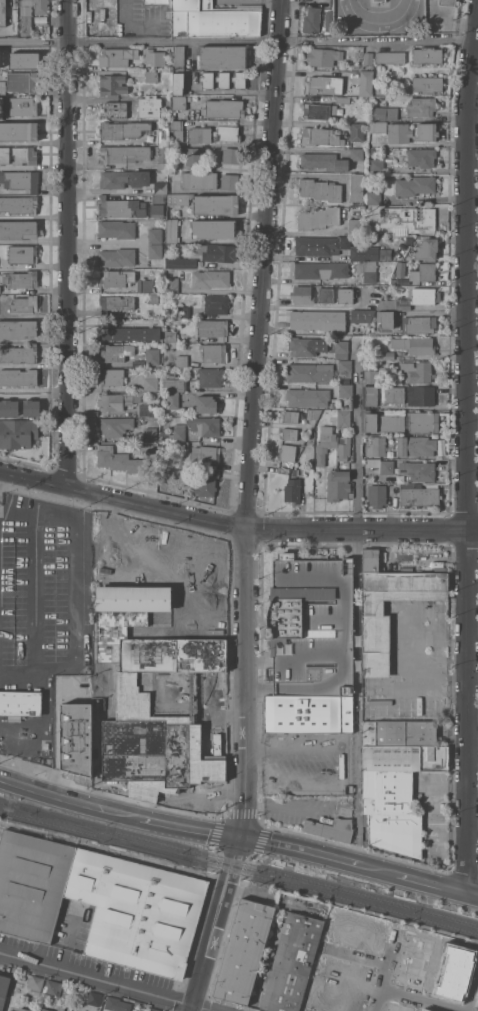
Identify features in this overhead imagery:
building: (378, 0)
building: (160, 1)
building: (447, 2)
road: (380, 11)
building: (3, 12)
building: (30, 12)
building: (214, 19)
building: (311, 20)
building: (327, 20)
building: (119, 28)
road: (239, 39)
building: (427, 55)
building: (115, 56)
building: (154, 56)
building: (323, 56)
building: (25, 57)
building: (178, 57)
building: (223, 57)
building: (390, 57)
building: (368, 58)
building: (151, 76)
building: (239, 79)
building: (207, 80)
building: (223, 80)
building: (21, 81)
building: (178, 83)
building: (366, 83)
building: (113, 84)
building: (320, 84)
building: (426, 84)
building: (342, 99)
building: (151, 102)
building: (179, 102)
building: (23, 106)
building: (421, 106)
building: (225, 108)
building: (114, 110)
building: (319, 110)
building: (379, 113)
building: (379, 127)
building: (122, 129)
building: (177, 129)
building: (19, 131)
building: (228, 132)
building: (356, 132)
building: (399, 132)
building: (426, 132)
building: (199, 134)
building: (163, 136)
building: (320, 136)
building: (123, 153)
building: (356, 154)
building: (5, 155)
building: (24, 155)
building: (231, 155)
building: (193, 156)
building: (421, 157)
building: (324, 161)
building: (162, 165)
building: (377, 165)
building: (124, 178)
building: (20, 180)
building: (199, 180)
building: (230, 181)
building: (414, 185)
building: (160, 187)
building: (357, 187)
building: (320, 189)
building: (374, 198)
building: (208, 203)
building: (19, 204)
building: (158, 205)
building: (121, 207)
building: (318, 218)
building: (406, 219)
building: (355, 226)
building: (116, 229)
building: (213, 229)
building: (17, 230)
building: (172, 230)
building: (155, 235)
road: (69, 245)
building: (316, 245)
building: (427, 249)
building: (155, 251)
building: (216, 252)
building: (364, 253)
building: (23, 254)
building: (117, 257)
building: (180, 262)
road: (265, 267)
building: (320, 270)
building: (370, 272)
building: (423, 272)
building: (117, 278)
building: (211, 278)
building: (21, 279)
building: (172, 284)
building: (145, 285)
building: (302, 295)
building: (325, 295)
building: (345, 295)
building: (153, 298)
building: (411, 299)
building: (116, 303)
building: (24, 304)
building: (216, 304)
building: (184, 311)
building: (318, 320)
building: (360, 320)
building: (384, 320)
building: (418, 325)
building: (18, 328)
building: (213, 328)
building: (129, 333)
building: (169, 336)
building: (415, 345)
building: (301, 346)
building: (341, 349)
building: (117, 351)
building: (214, 352)
building: (19, 354)
building: (388, 355)
building: (152, 356)
building: (181, 360)
building: (344, 365)
building: (416, 372)
building: (171, 373)
building: (307, 373)
building: (372, 374)
building: (18, 377)
building: (112, 377)
building: (210, 377)
building: (151, 380)
building: (173, 385)
building: (345, 390)
building: (382, 395)
building: (420, 395)
building: (307, 397)
building: (172, 400)
building: (117, 401)
building: (206, 404)
building: (9, 407)
building: (31, 407)
building: (143, 409)
building: (313, 413)
building: (290, 415)
building: (344, 419)
building: (424, 421)
building: (382, 422)
building: (204, 425)
building: (116, 426)
building: (174, 432)
building: (19, 433)
building: (150, 433)
building: (291, 433)
building: (182, 445)
building: (332, 445)
building: (376, 445)
building: (416, 445)
road: (357, 446)
building: (149, 447)
road: (465, 450)
building: (205, 454)
building: (286, 457)
building: (120, 460)
building: (387, 466)
building: (420, 471)
building: (207, 482)
building: (337, 484)
building: (292, 490)
building: (377, 495)
building: (419, 496)
road: (16, 512)
building: (144, 525)
road: (235, 531)
building: (165, 532)
building: (184, 538)
building: (196, 539)
building: (204, 541)
building: (219, 545)
road: (357, 558)
building: (217, 581)
building: (222, 588)
road: (74, 589)
road: (33, 592)
building: (373, 606)
building: (311, 626)
building: (118, 678)
building: (221, 688)
building: (20, 703)
building: (309, 713)
road: (46, 717)
road: (357, 723)
road: (8, 732)
building: (400, 733)
building: (75, 737)
power substation: (76, 737)
road: (257, 746)
road: (346, 774)
building: (396, 775)
road: (246, 776)
building: (331, 828)
building: (396, 832)
railway: (106, 833)
road: (238, 836)
traffic signals: (241, 837)
railway: (239, 862)
railway: (239, 871)
building: (32, 883)
building: (135, 911)
building: (359, 935)
building: (244, 951)
road: (359, 962)
building: (417, 962)
building: (291, 963)
road: (389, 970)
building: (458, 975)
road: (435, 976)
building: (347, 979)
road: (108, 980)
building: (35, 984)
building: (53, 986)
building: (3, 989)
road: (346, 998)
road: (430, 998)
road: (425, 999)
building: (93, 1000)
road: (474, 1000)
building: (117, 1004)
building: (333, 1004)
building: (403, 1004)
building: (61, 1008)
building: (23, 1009)
building: (46, 1009)
building: (154, 1009)
building: (435, 1009)
building: (8, 1010)
building: (10, 1010)

